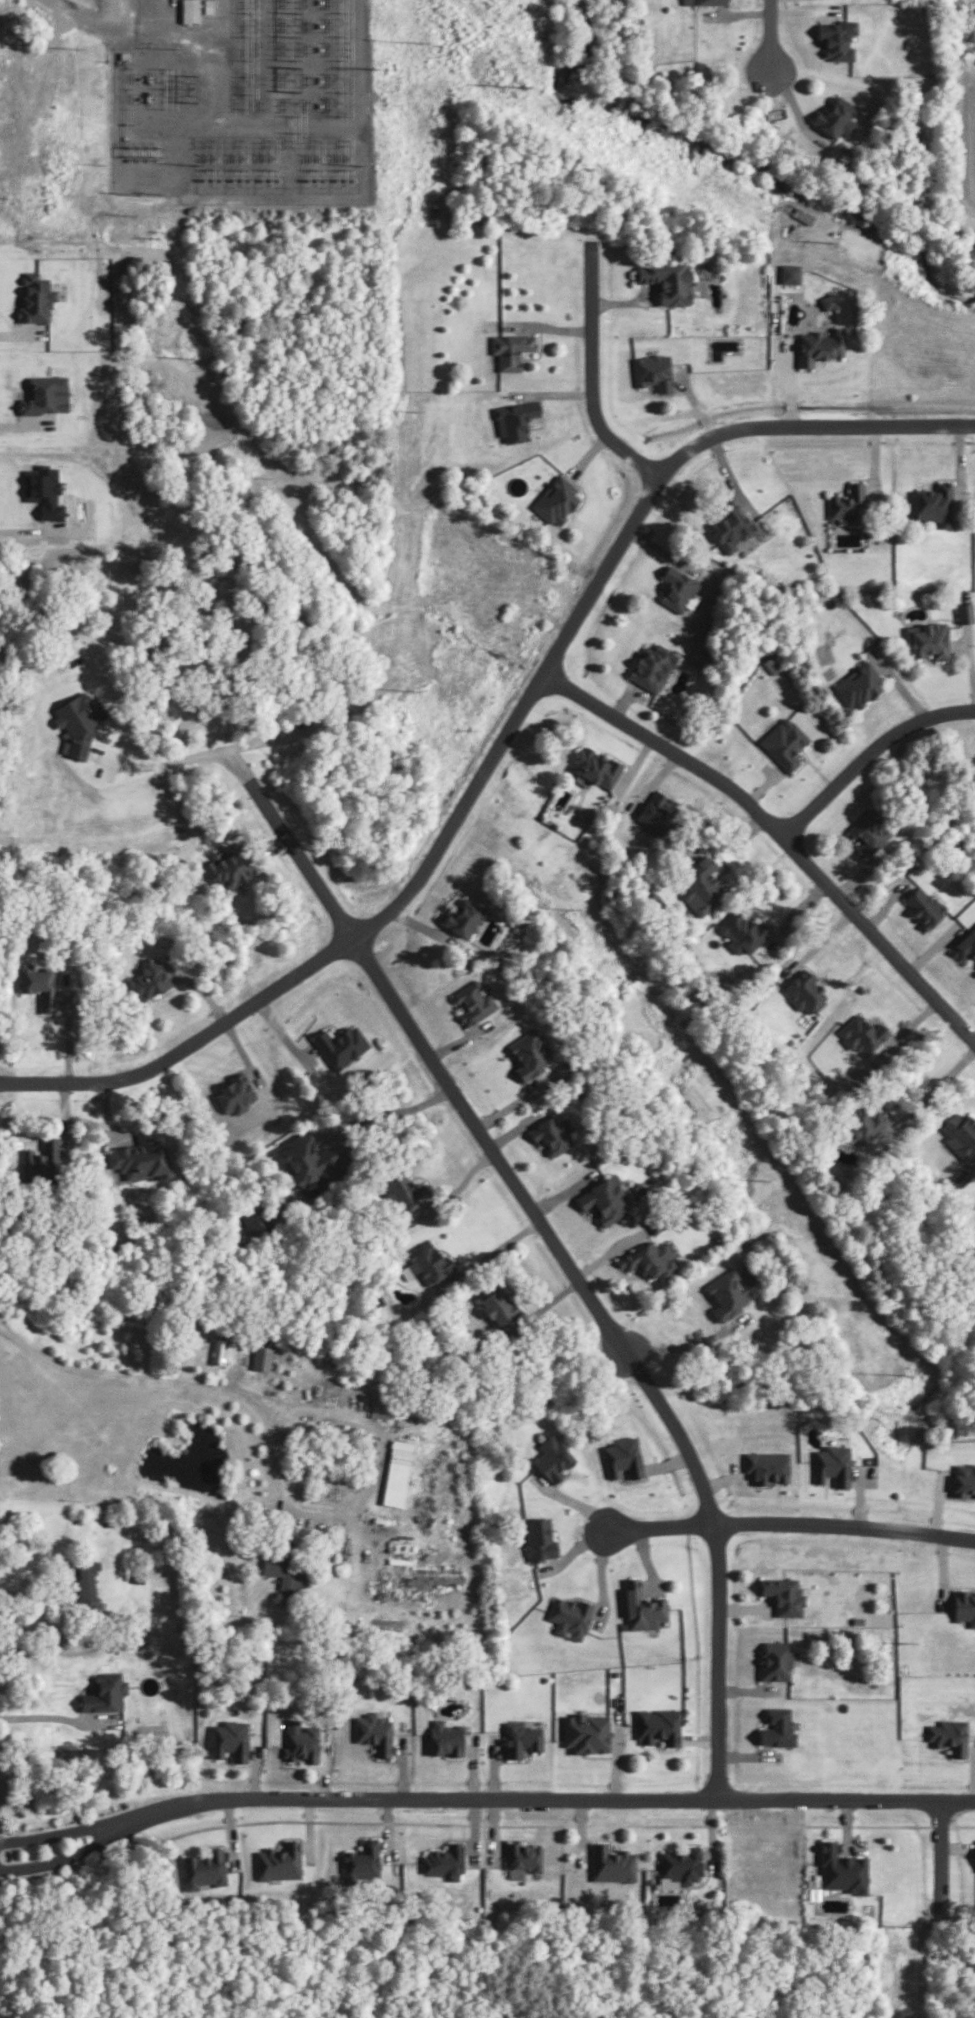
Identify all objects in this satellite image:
building: (703, 1)
building: (207, 6)
building: (189, 10)
road: (769, 34)
building: (836, 38)
power tower: (422, 42)
power tower: (524, 87)
power substation: (244, 104)
building: (835, 117)
power tower: (833, 242)
building: (789, 267)
building: (667, 277)
building: (828, 297)
building: (28, 305)
road: (19, 335)
building: (819, 340)
building: (510, 343)
building: (653, 366)
road: (594, 367)
building: (38, 398)
power tower: (419, 412)
building: (514, 414)
road: (25, 426)
building: (556, 494)
building: (38, 496)
building: (848, 498)
building: (935, 498)
building: (729, 520)
road: (29, 530)
building: (676, 582)
building: (966, 613)
building: (930, 640)
building: (651, 660)
building: (859, 685)
power tower: (414, 690)
building: (75, 723)
road: (498, 738)
building: (786, 743)
road: (868, 747)
road: (183, 756)
building: (597, 767)
building: (655, 813)
road: (779, 825)
building: (870, 831)
building: (231, 865)
building: (702, 886)
building: (922, 905)
power tower: (572, 907)
building: (466, 917)
building: (741, 931)
building: (965, 944)
building: (149, 980)
building: (39, 985)
building: (804, 991)
building: (474, 1002)
building: (861, 1033)
building: (342, 1045)
building: (531, 1054)
road: (942, 1077)
building: (234, 1093)
road: (399, 1114)
power tower: (721, 1116)
building: (863, 1123)
building: (551, 1135)
building: (962, 1135)
building: (140, 1155)
building: (306, 1160)
building: (42, 1162)
building: (405, 1192)
building: (605, 1200)
building: (254, 1220)
road: (500, 1245)
building: (649, 1258)
road: (568, 1260)
building: (429, 1262)
building: (728, 1294)
building: (499, 1306)
road: (674, 1345)
building: (221, 1351)
building: (261, 1357)
power tower: (903, 1369)
road: (126, 1375)
building: (380, 1404)
building: (622, 1457)
building: (552, 1458)
building: (832, 1464)
building: (767, 1466)
building: (397, 1472)
building: (963, 1479)
road: (368, 1488)
road: (843, 1519)
road: (658, 1520)
building: (538, 1538)
building: (284, 1571)
building: (86, 1580)
road: (32, 1593)
building: (784, 1595)
building: (964, 1606)
building: (642, 1607)
building: (570, 1616)
power tower: (899, 1635)
building: (775, 1660)
building: (105, 1694)
road: (41, 1716)
building: (658, 1726)
building: (777, 1728)
building: (374, 1732)
building: (586, 1732)
building: (949, 1735)
building: (445, 1738)
building: (520, 1738)
building: (231, 1739)
building: (301, 1744)
road: (540, 1793)
road: (54, 1827)
road: (938, 1850)
road: (59, 1852)
building: (522, 1859)
building: (279, 1861)
building: (362, 1861)
building: (443, 1861)
building: (611, 1863)
building: (203, 1869)
building: (842, 1869)
power tower: (901, 1924)

